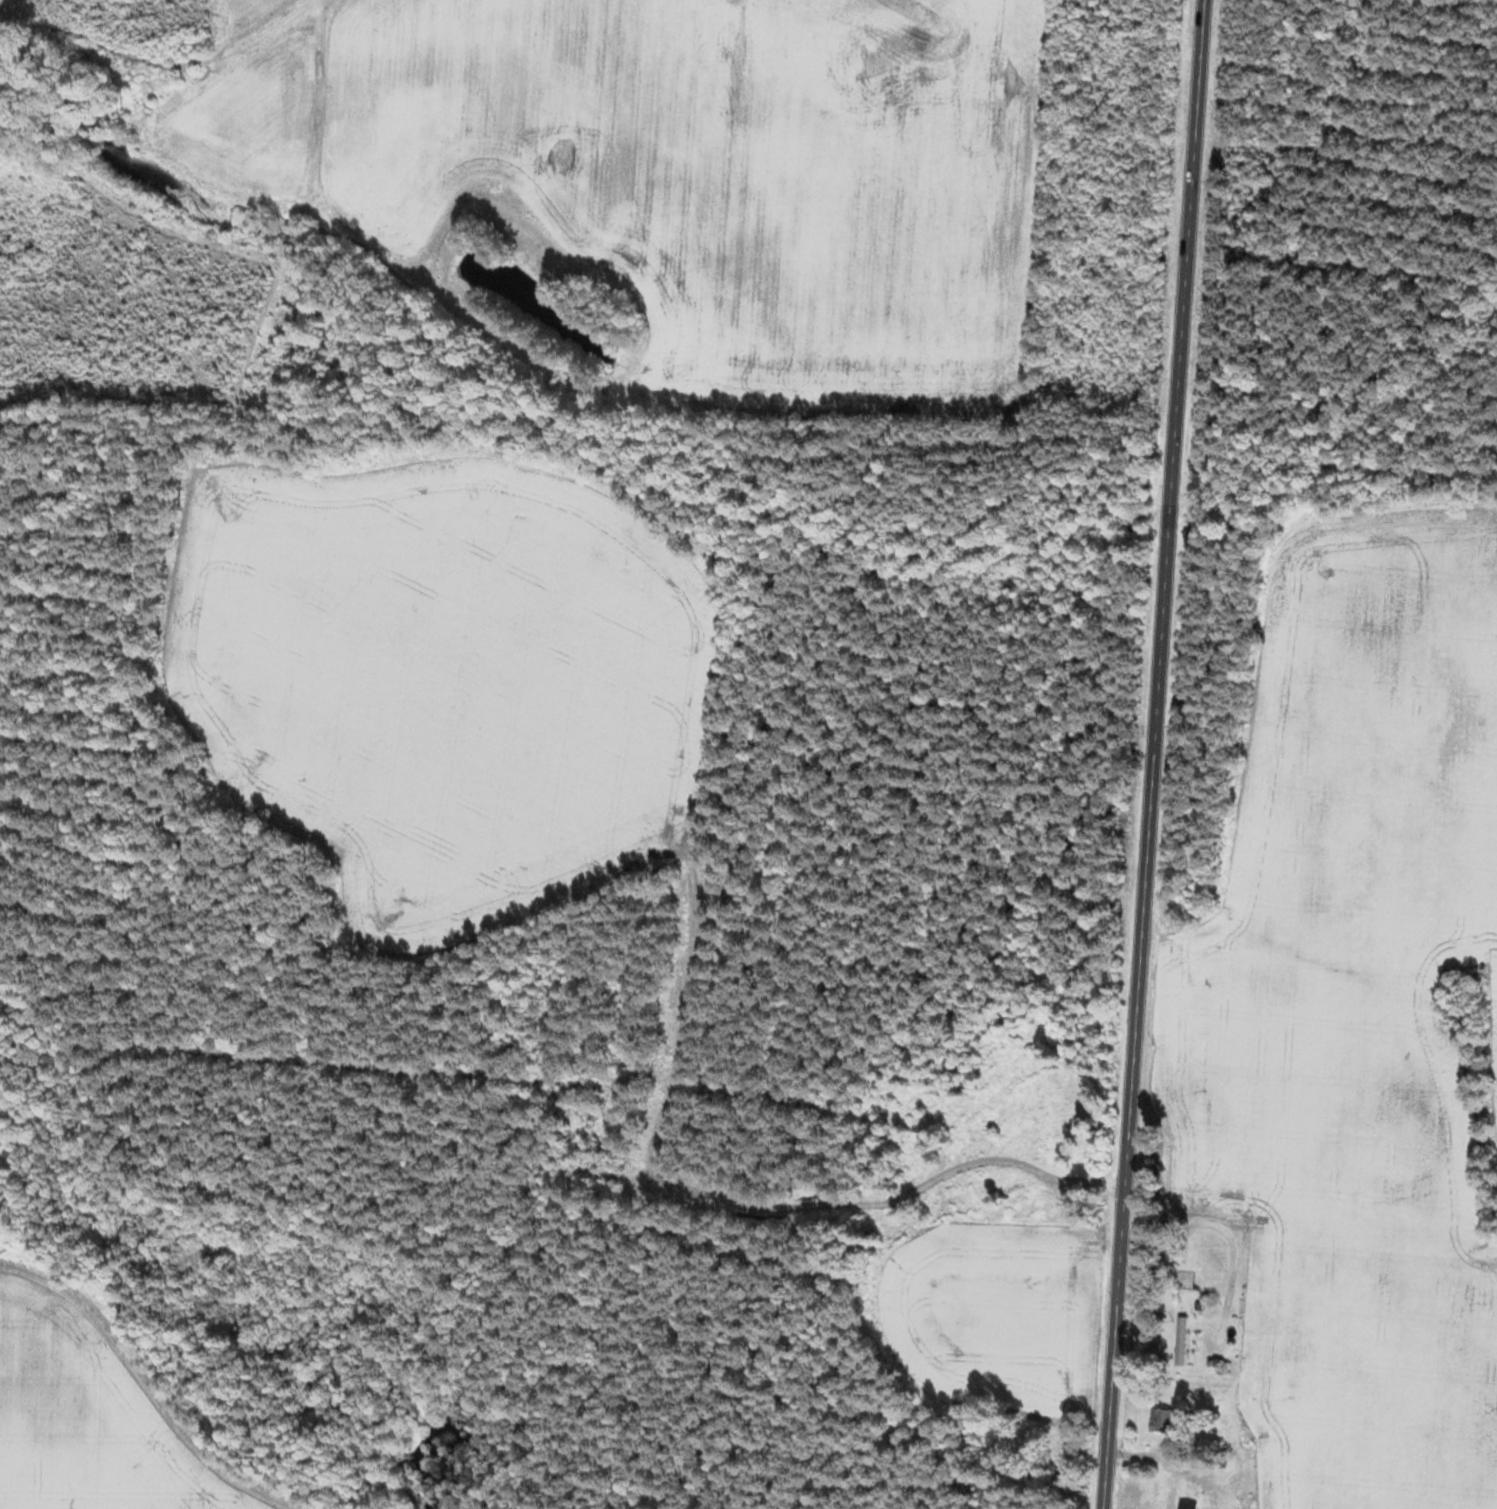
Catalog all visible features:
road: (1192, 169)
road: (1141, 923)
building: (1185, 1272)
building: (1181, 1342)
building: (1162, 1421)
building: (1187, 1505)

